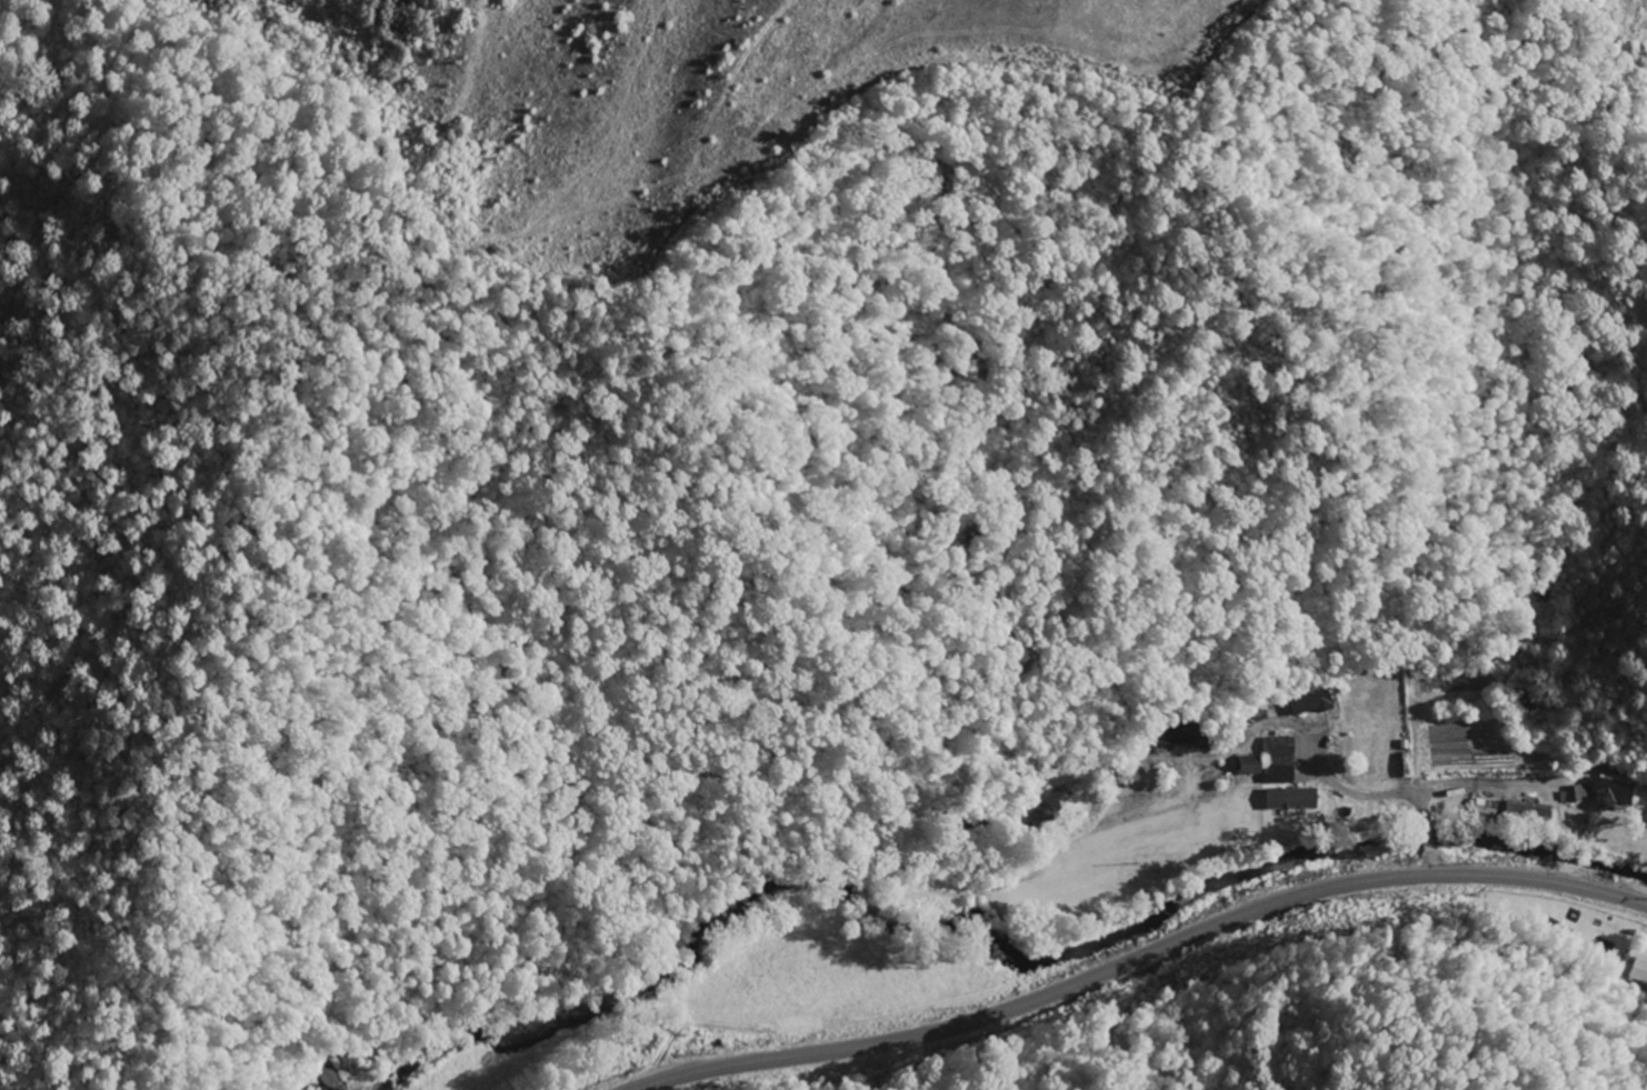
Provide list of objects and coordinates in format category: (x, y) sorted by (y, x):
building: (1275, 762)
road: (1355, 791)
building: (1615, 796)
building: (1296, 800)
building: (1531, 812)
road: (1140, 958)
building: (1640, 971)

